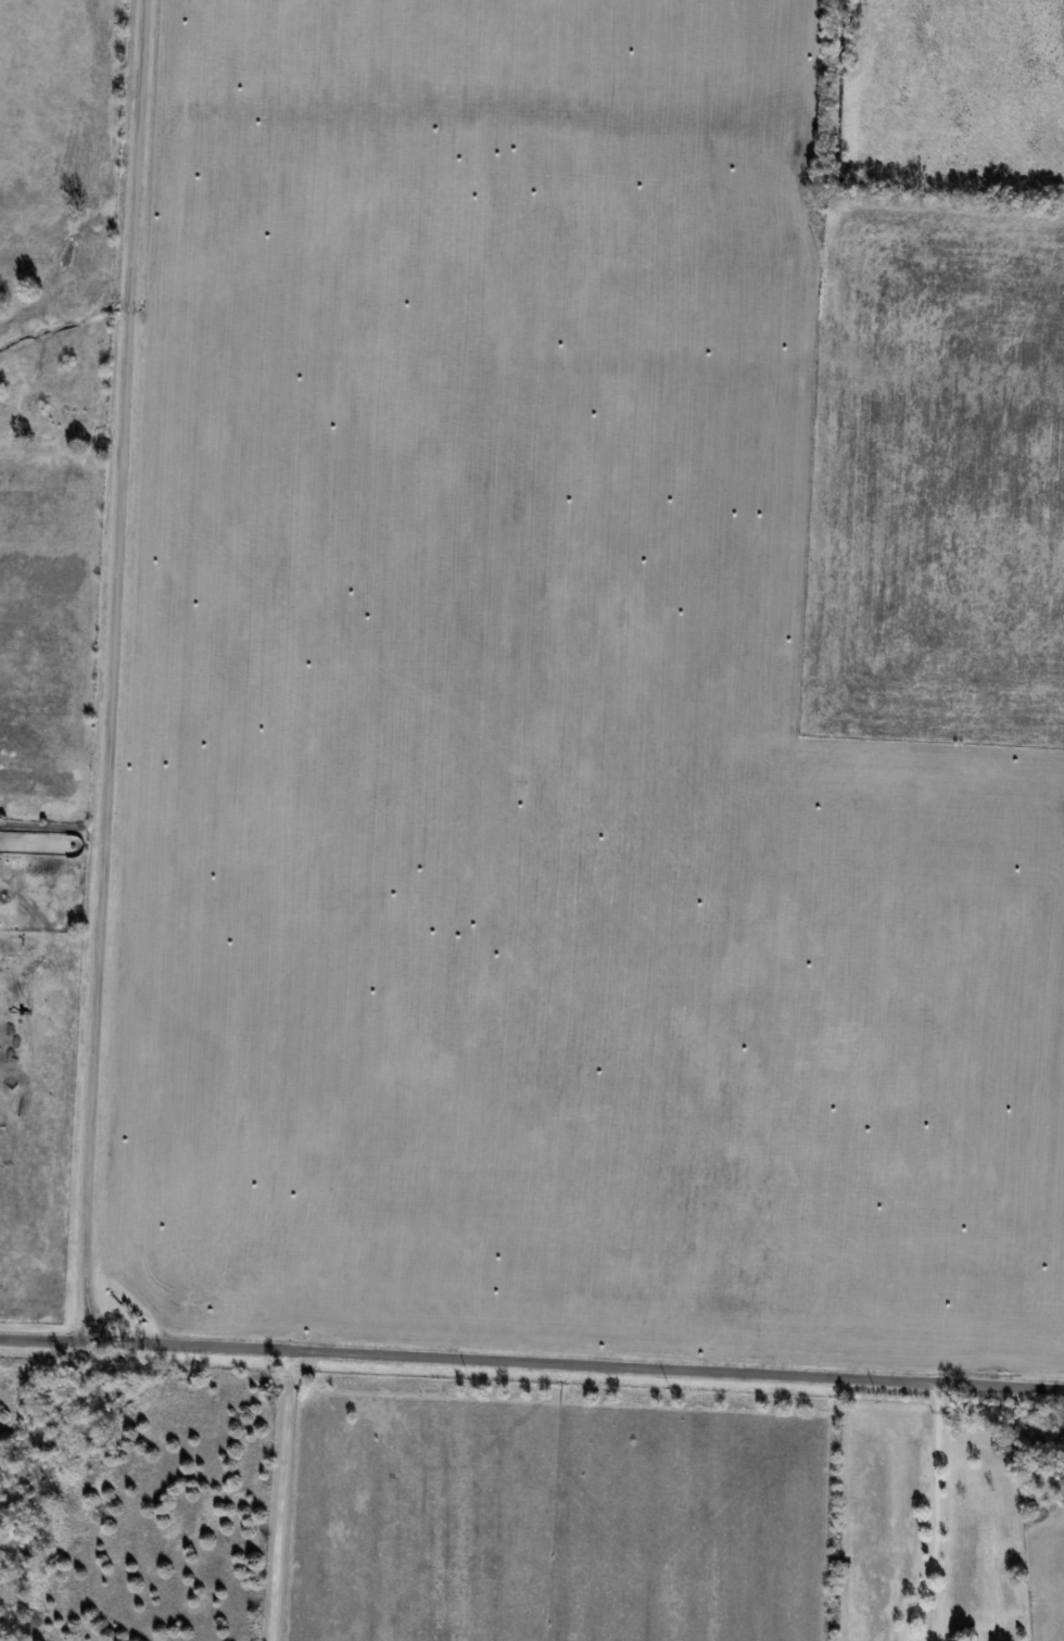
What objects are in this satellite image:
road: (106, 671)
road: (532, 1359)
road: (274, 1493)
road: (929, 1513)

